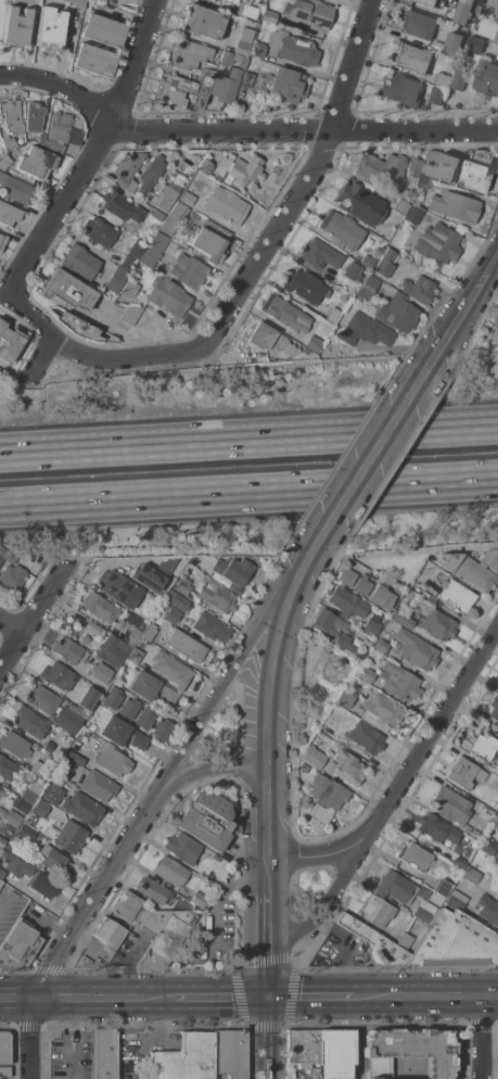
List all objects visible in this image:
building: (102, 0)
building: (210, 0)
building: (231, 1)
building: (431, 2)
building: (76, 3)
building: (247, 11)
building: (464, 11)
building: (310, 13)
building: (497, 15)
building: (268, 16)
building: (202, 22)
building: (419, 24)
building: (460, 25)
building: (16, 26)
building: (49, 28)
building: (103, 30)
building: (260, 30)
building: (496, 37)
building: (243, 42)
building: (454, 42)
building: (475, 43)
building: (291, 49)
building: (497, 49)
building: (258, 50)
building: (188, 54)
building: (412, 56)
building: (226, 58)
building: (93, 60)
building: (242, 62)
building: (459, 77)
building: (487, 77)
building: (246, 79)
building: (443, 79)
building: (205, 81)
building: (284, 85)
building: (226, 86)
road: (63, 89)
building: (400, 89)
building: (174, 90)
building: (437, 96)
building: (11, 116)
building: (33, 117)
building: (76, 123)
building: (56, 130)
road: (305, 131)
building: (40, 138)
building: (8, 141)
building: (432, 155)
building: (483, 155)
building: (3, 162)
building: (36, 163)
building: (127, 164)
building: (139, 166)
building: (205, 166)
building: (417, 166)
building: (444, 167)
building: (239, 169)
building: (381, 169)
building: (146, 175)
building: (474, 176)
building: (120, 182)
building: (14, 189)
building: (164, 196)
building: (187, 199)
road: (66, 201)
building: (449, 202)
building: (360, 204)
building: (225, 205)
building: (400, 206)
building: (120, 207)
building: (8, 214)
building: (156, 215)
building: (413, 215)
building: (193, 216)
building: (174, 218)
road: (283, 224)
building: (341, 230)
building: (99, 231)
building: (0, 237)
building: (209, 241)
building: (437, 243)
building: (1, 246)
building: (153, 250)
building: (319, 254)
building: (131, 255)
building: (79, 262)
building: (367, 262)
building: (384, 263)
building: (188, 271)
building: (352, 271)
building: (116, 279)
building: (305, 287)
building: (368, 288)
building: (418, 289)
building: (67, 290)
building: (127, 291)
road: (474, 295)
building: (167, 296)
building: (397, 313)
building: (129, 314)
building: (286, 315)
building: (333, 315)
building: (76, 325)
building: (366, 330)
building: (494, 333)
building: (269, 340)
building: (9, 342)
building: (311, 343)
building: (303, 351)
road: (82, 354)
road: (384, 439)
road: (248, 443)
road: (248, 490)
road: (191, 554)
building: (7, 557)
building: (429, 558)
building: (0, 560)
building: (471, 567)
building: (411, 568)
building: (231, 570)
road: (297, 575)
building: (344, 575)
building: (12, 576)
building: (148, 576)
building: (392, 581)
building: (401, 583)
building: (360, 585)
building: (114, 586)
building: (180, 587)
building: (395, 593)
building: (216, 596)
building: (454, 596)
building: (380, 597)
building: (405, 598)
building: (178, 601)
building: (346, 601)
building: (98, 607)
road: (30, 613)
building: (171, 615)
building: (400, 619)
building: (328, 621)
road: (10, 624)
building: (435, 624)
building: (370, 626)
building: (210, 627)
building: (94, 629)
building: (149, 632)
building: (132, 636)
building: (85, 639)
building: (341, 640)
building: (380, 645)
building: (186, 646)
building: (68, 650)
building: (112, 650)
building: (414, 650)
building: (135, 655)
building: (171, 669)
building: (101, 673)
building: (366, 674)
building: (58, 675)
building: (398, 681)
building: (151, 688)
road: (267, 689)
building: (88, 698)
building: (112, 698)
road: (216, 698)
building: (346, 698)
building: (41, 699)
building: (128, 708)
building: (494, 709)
building: (381, 712)
building: (144, 719)
building: (67, 720)
building: (29, 722)
building: (91, 726)
building: (161, 729)
building: (122, 734)
building: (365, 737)
building: (14, 745)
building: (483, 746)
building: (59, 750)
building: (312, 757)
building: (74, 758)
building: (111, 760)
building: (62, 766)
road: (210, 766)
building: (304, 767)
building: (8, 769)
building: (39, 769)
building: (347, 769)
building: (464, 773)
road: (407, 774)
building: (98, 786)
building: (53, 789)
building: (30, 791)
building: (328, 792)
building: (21, 805)
building: (450, 805)
building: (82, 809)
building: (210, 809)
building: (44, 811)
building: (319, 814)
building: (12, 817)
building: (432, 826)
building: (464, 827)
building: (202, 830)
building: (25, 833)
building: (457, 833)
building: (474, 834)
building: (69, 837)
building: (2, 842)
building: (10, 846)
building: (488, 847)
building: (182, 848)
building: (0, 851)
building: (414, 856)
building: (53, 859)
building: (459, 862)
building: (16, 865)
building: (169, 871)
building: (1, 874)
building: (470, 875)
building: (0, 881)
road: (269, 883)
building: (43, 885)
building: (395, 887)
building: (443, 888)
building: (497, 891)
building: (154, 892)
road: (97, 894)
road: (329, 897)
building: (199, 899)
building: (456, 899)
building: (126, 905)
building: (487, 910)
building: (376, 911)
building: (425, 912)
building: (151, 921)
building: (108, 934)
building: (167, 939)
building: (404, 940)
building: (455, 942)
building: (374, 944)
building: (18, 945)
building: (84, 961)
road: (427, 997)
road: (314, 998)
road: (102, 999)
road: (219, 999)
traffic signals: (269, 999)
road: (16, 1000)
road: (34, 1039)
road: (269, 1039)
road: (481, 1040)
building: (304, 1046)
building: (3, 1049)
building: (408, 1051)
building: (104, 1052)
building: (229, 1053)
building: (336, 1053)
building: (184, 1058)
building: (4, 1072)

